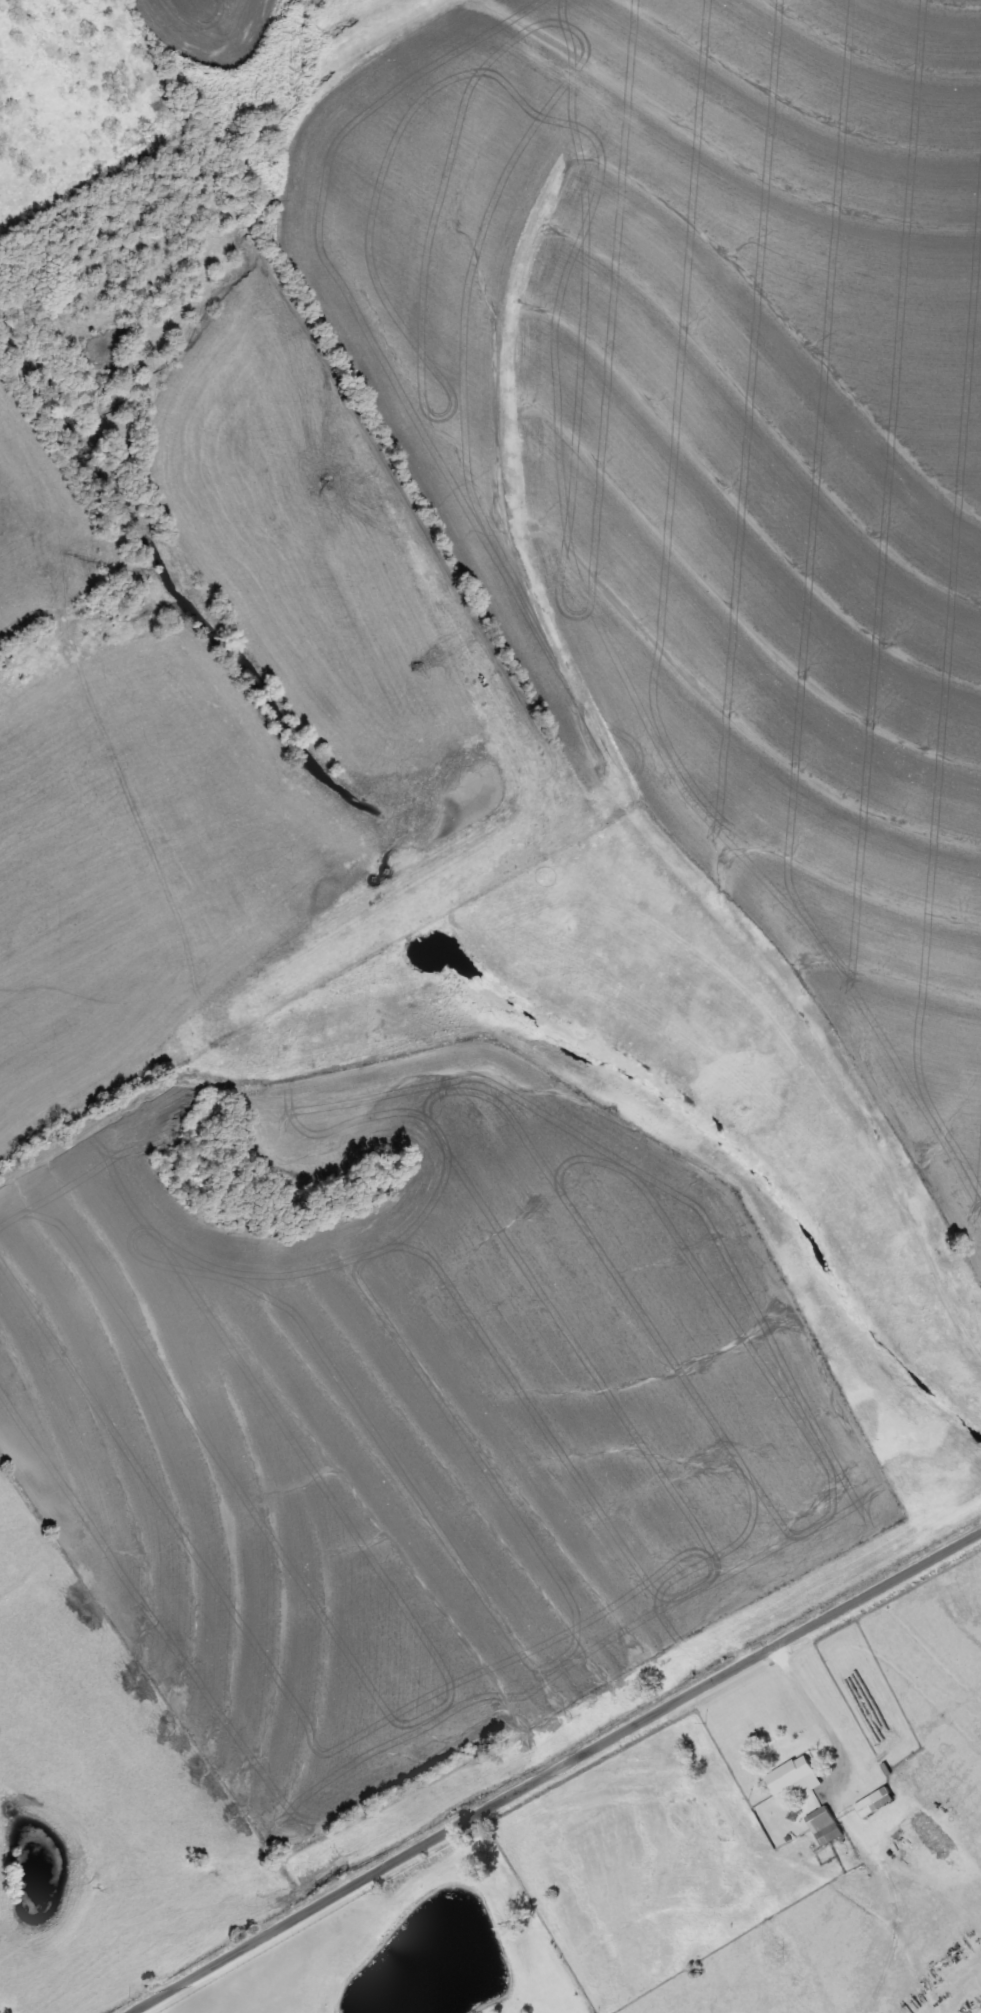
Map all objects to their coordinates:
road: (558, 1771)
building: (791, 1773)
building: (828, 1823)

